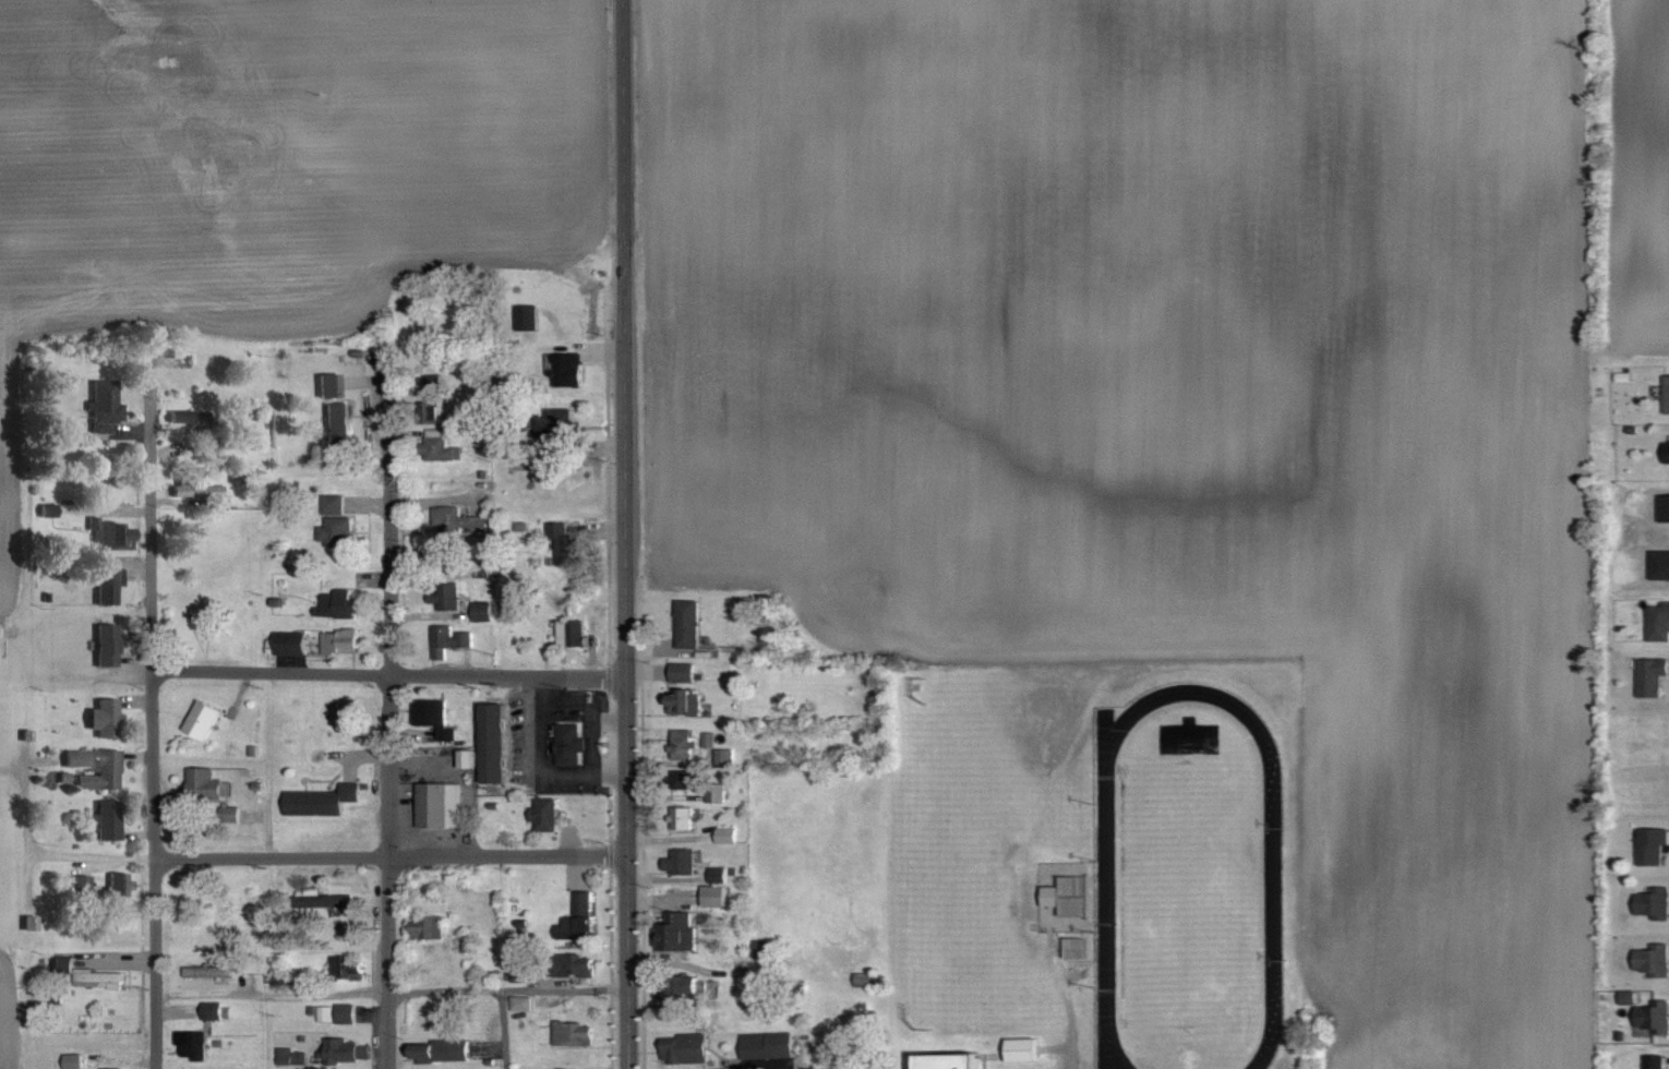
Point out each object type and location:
building: (527, 315)
building: (565, 368)
building: (331, 384)
building: (1666, 394)
building: (430, 397)
building: (106, 404)
building: (189, 417)
building: (338, 422)
building: (557, 431)
building: (439, 445)
building: (1667, 449)
building: (196, 490)
building: (333, 504)
building: (48, 505)
building: (459, 520)
building: (336, 531)
building: (111, 533)
road: (614, 534)
building: (566, 543)
building: (451, 556)
building: (109, 585)
building: (444, 596)
building: (337, 603)
building: (193, 610)
building: (1658, 620)
building: (688, 623)
building: (572, 632)
building: (449, 639)
building: (341, 640)
building: (291, 642)
building: (108, 644)
building: (684, 671)
road: (383, 673)
building: (1653, 675)
building: (686, 701)
building: (433, 716)
building: (108, 717)
road: (148, 717)
building: (203, 718)
road: (383, 722)
building: (495, 741)
building: (683, 743)
building: (571, 744)
building: (725, 755)
building: (95, 766)
building: (687, 778)
building: (207, 782)
building: (717, 791)
building: (323, 798)
building: (439, 803)
building: (544, 814)
building: (683, 816)
building: (108, 818)
building: (728, 833)
building: (1653, 843)
road: (51, 854)
road: (503, 857)
building: (682, 860)
building: (80, 882)
building: (119, 884)
building: (717, 886)
road: (1105, 893)
track: (1105, 893)
park: (1189, 893)
building: (1069, 894)
building: (324, 899)
building: (1653, 900)
building: (578, 917)
building: (428, 926)
building: (676, 930)
building: (467, 941)
building: (766, 948)
building: (1653, 958)
building: (63, 962)
building: (571, 963)
building: (346, 966)
building: (209, 971)
building: (520, 973)
building: (98, 976)
building: (682, 986)
road: (387, 990)
building: (212, 1009)
building: (346, 1012)
building: (1653, 1016)
road: (506, 1029)
building: (575, 1031)
building: (192, 1043)
building: (768, 1044)
building: (685, 1047)
building: (442, 1048)
building: (1023, 1048)
building: (346, 1049)
building: (292, 1056)
building: (72, 1060)
building: (949, 1060)
building: (1655, 1060)

